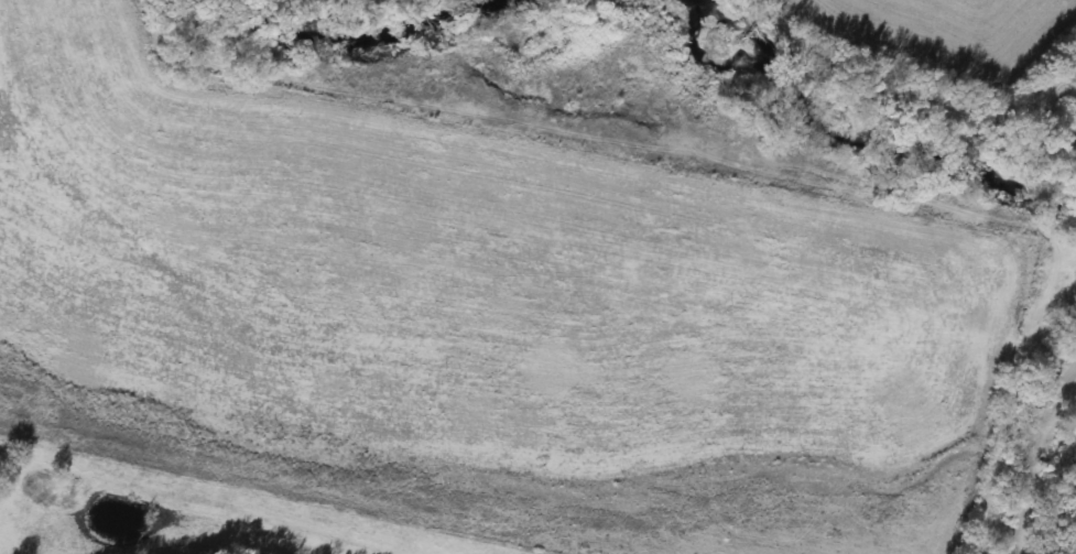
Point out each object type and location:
river: (355, 39)
river: (859, 135)
road: (1024, 454)

